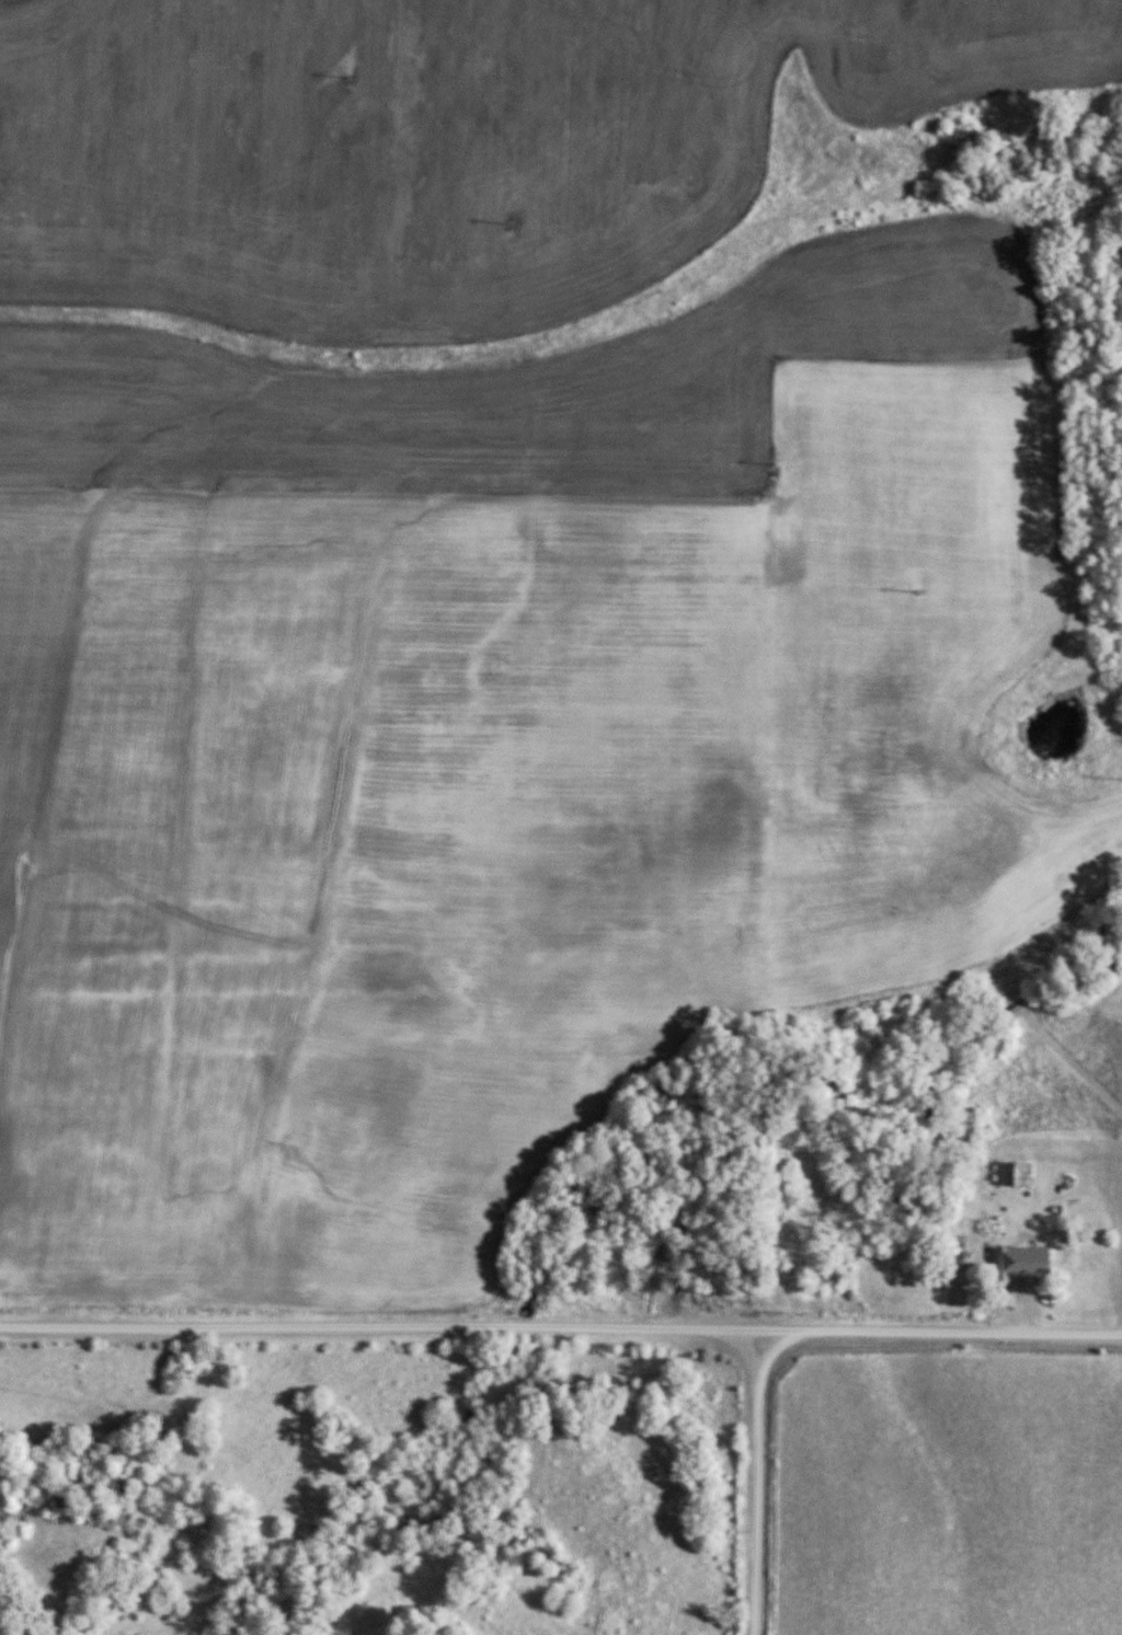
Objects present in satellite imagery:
building: (1014, 1172)
building: (1004, 1264)
road: (379, 1324)
road: (940, 1332)
road: (756, 1483)

